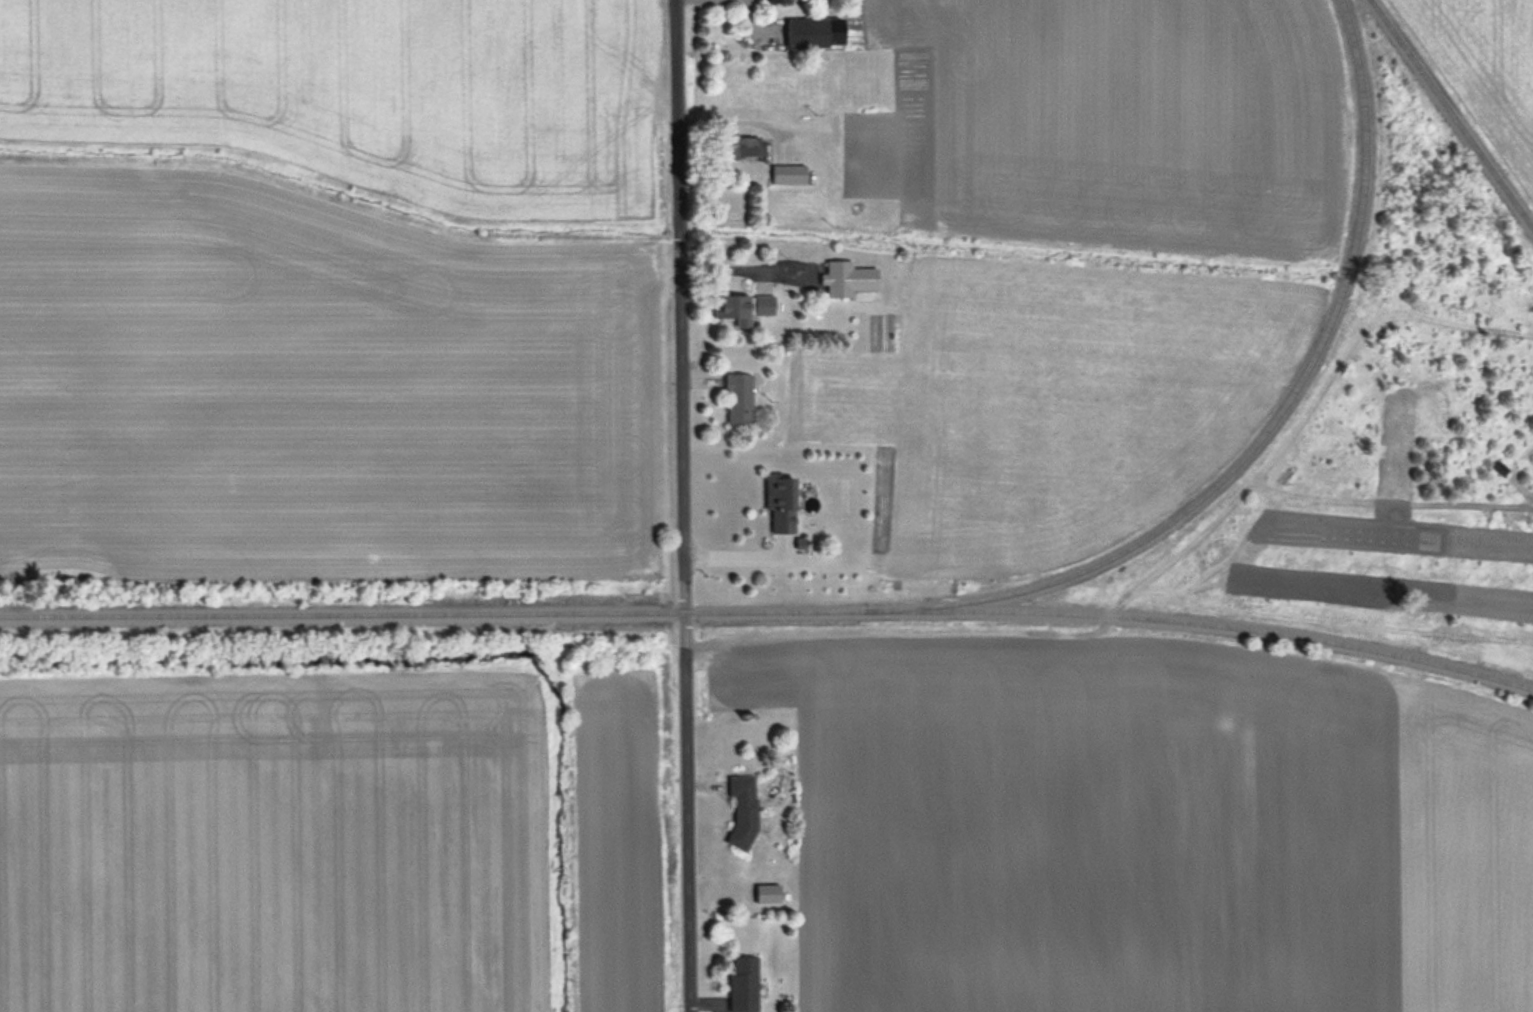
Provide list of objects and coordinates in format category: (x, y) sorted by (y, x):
building: (777, 1)
building: (815, 32)
railway: (1450, 115)
building: (739, 146)
building: (789, 174)
building: (849, 280)
building: (764, 305)
building: (733, 309)
building: (738, 397)
building: (780, 501)
road: (684, 506)
railway: (888, 611)
railway: (1216, 627)
building: (743, 810)
building: (768, 894)
building: (744, 983)

